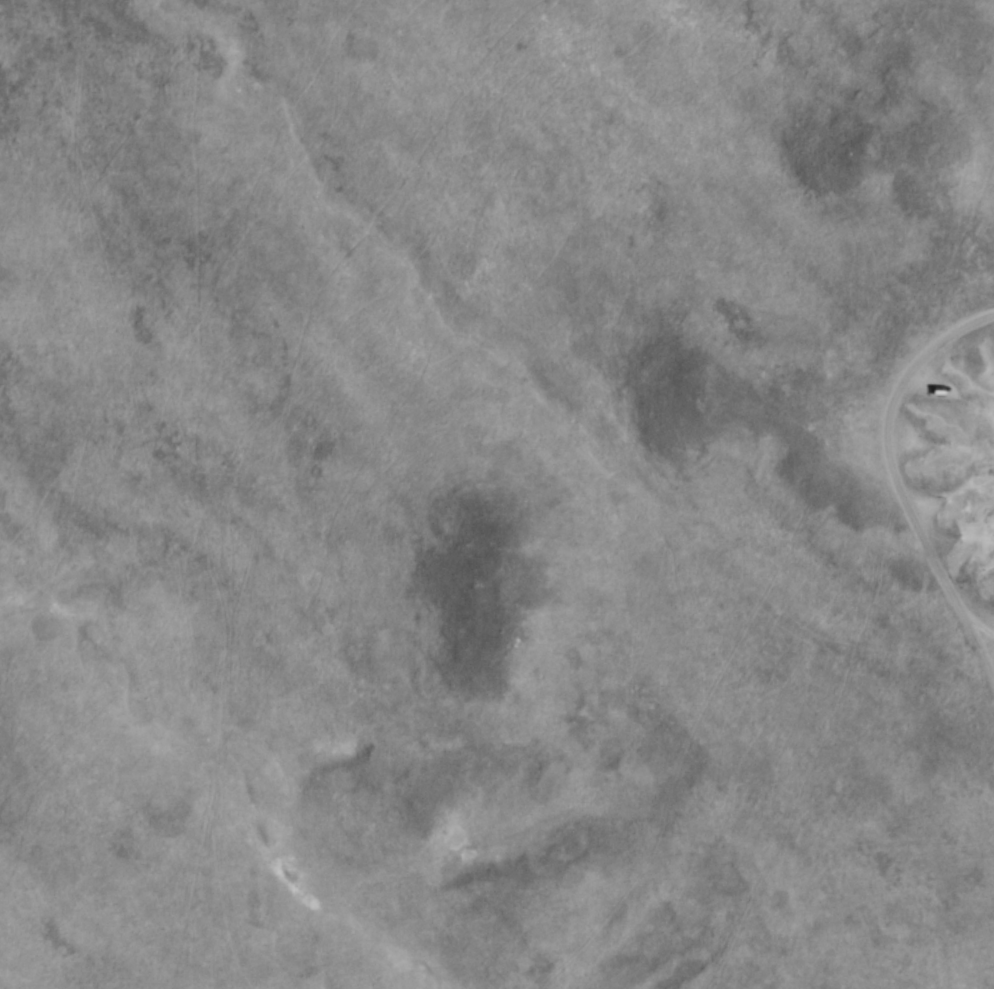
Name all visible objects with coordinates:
road: (901, 478)

